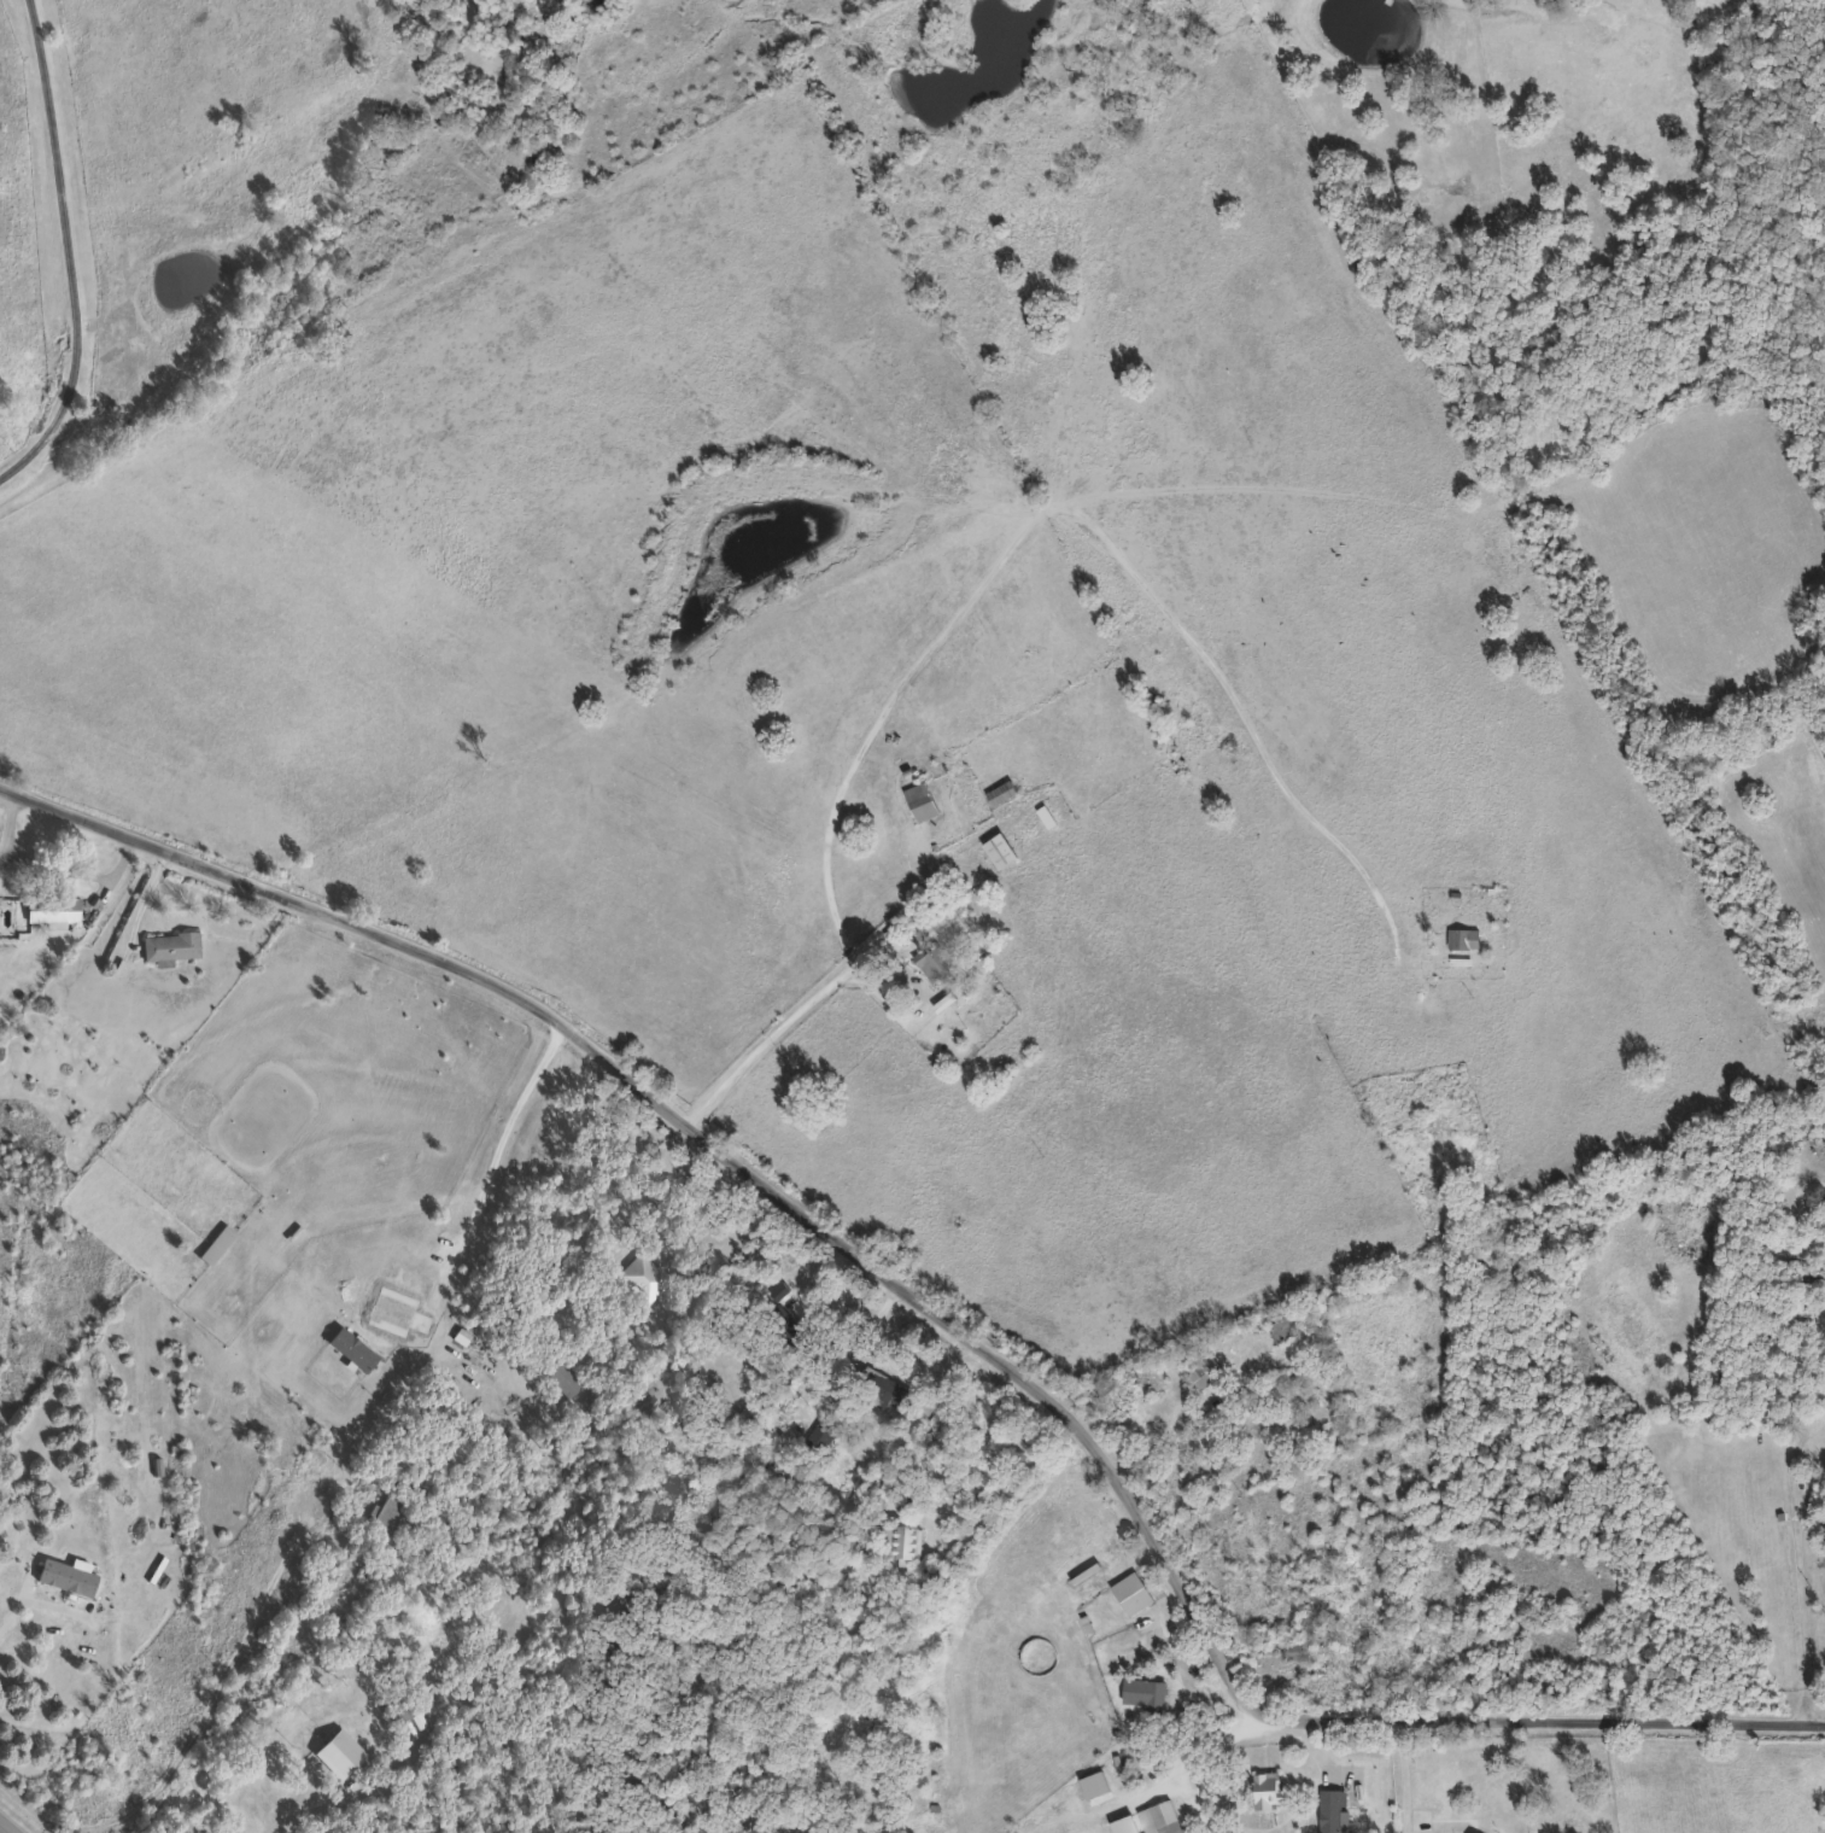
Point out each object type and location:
road: (69, 252)
road: (993, 574)
building: (1005, 789)
building: (920, 800)
road: (6, 851)
building: (1000, 851)
road: (54, 865)
building: (49, 910)
building: (890, 926)
building: (1463, 936)
building: (169, 945)
building: (932, 962)
road: (1823, 1014)
road: (496, 1154)
road: (599, 1268)
building: (1800, 1271)
building: (642, 1275)
road: (938, 1310)
building: (1281, 1329)
building: (800, 1342)
building: (1205, 1372)
building: (562, 1379)
building: (894, 1393)
road: (1186, 1418)
road: (1568, 1507)
building: (392, 1518)
road: (1792, 1529)
building: (899, 1542)
building: (65, 1575)
road: (1585, 1577)
building: (1131, 1592)
road: (13, 1615)
building: (1295, 1648)
building: (1143, 1691)
road: (123, 1742)
road: (1211, 1745)
building: (349, 1747)
road: (1404, 1776)
building: (1267, 1788)
road: (323, 1804)
building: (1330, 1810)
building: (1139, 1820)
building: (1170, 1827)
road: (1, 1831)

